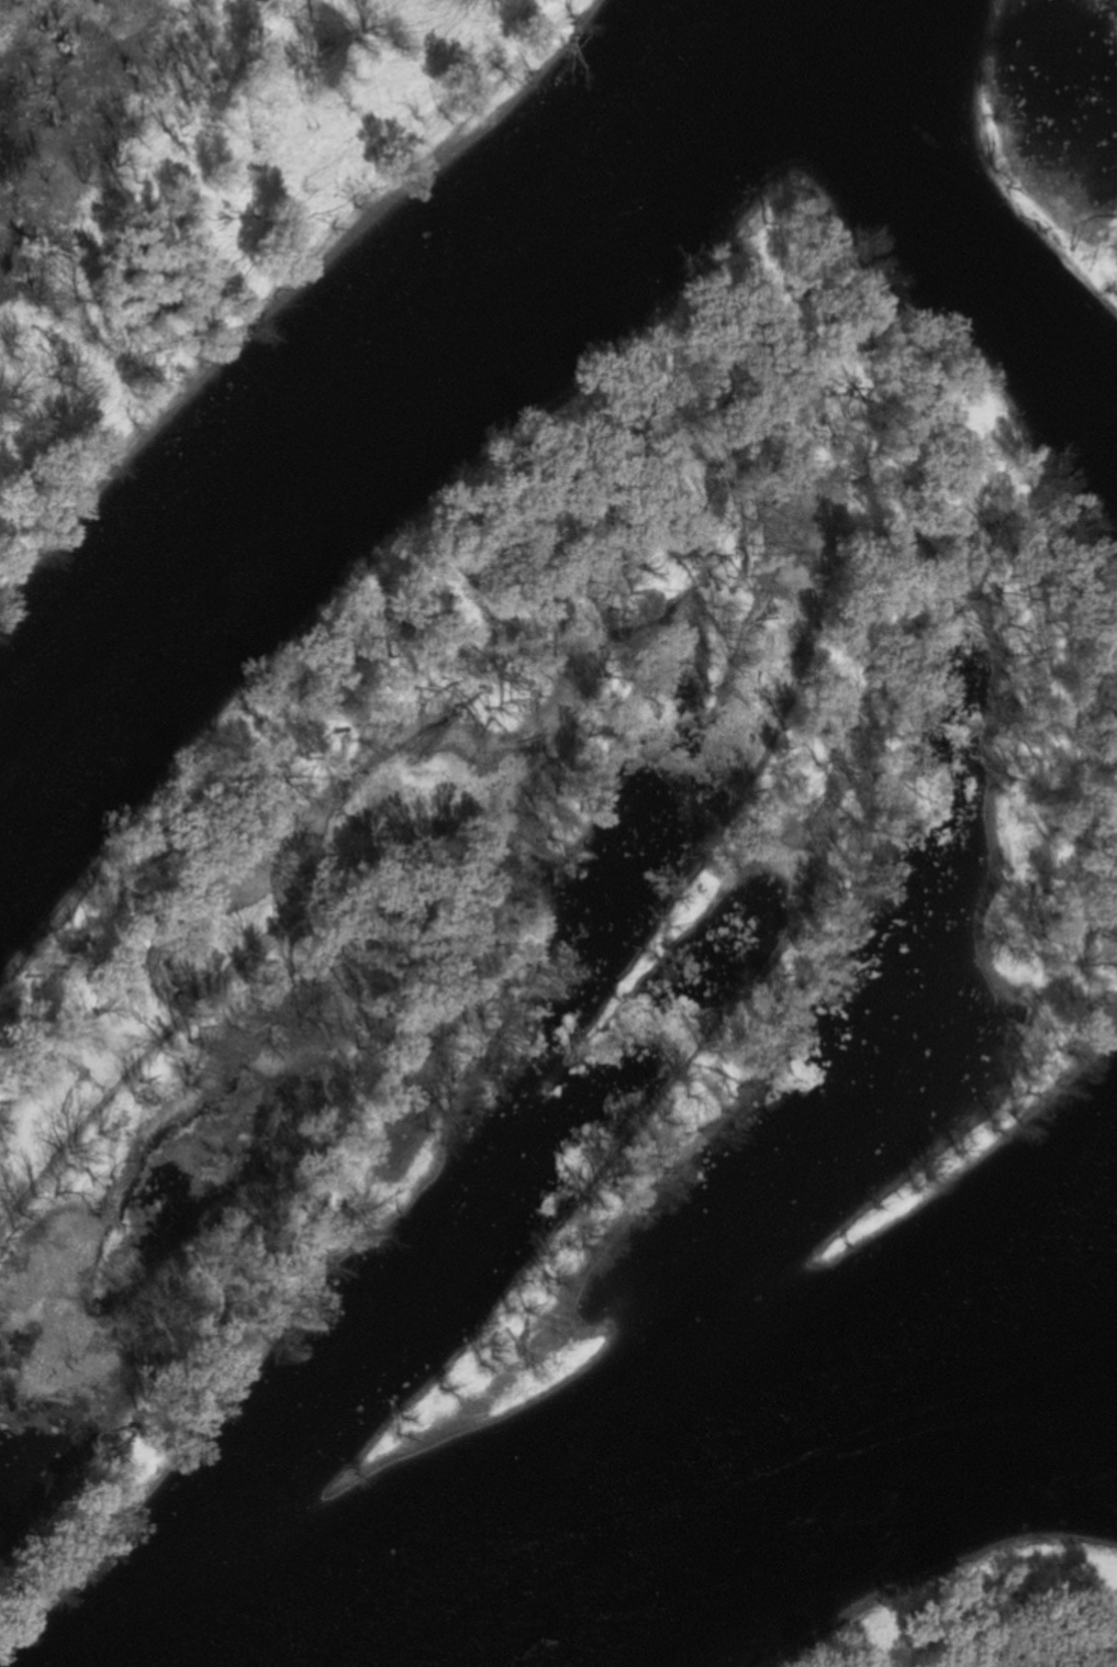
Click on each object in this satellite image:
river: (393, 407)

